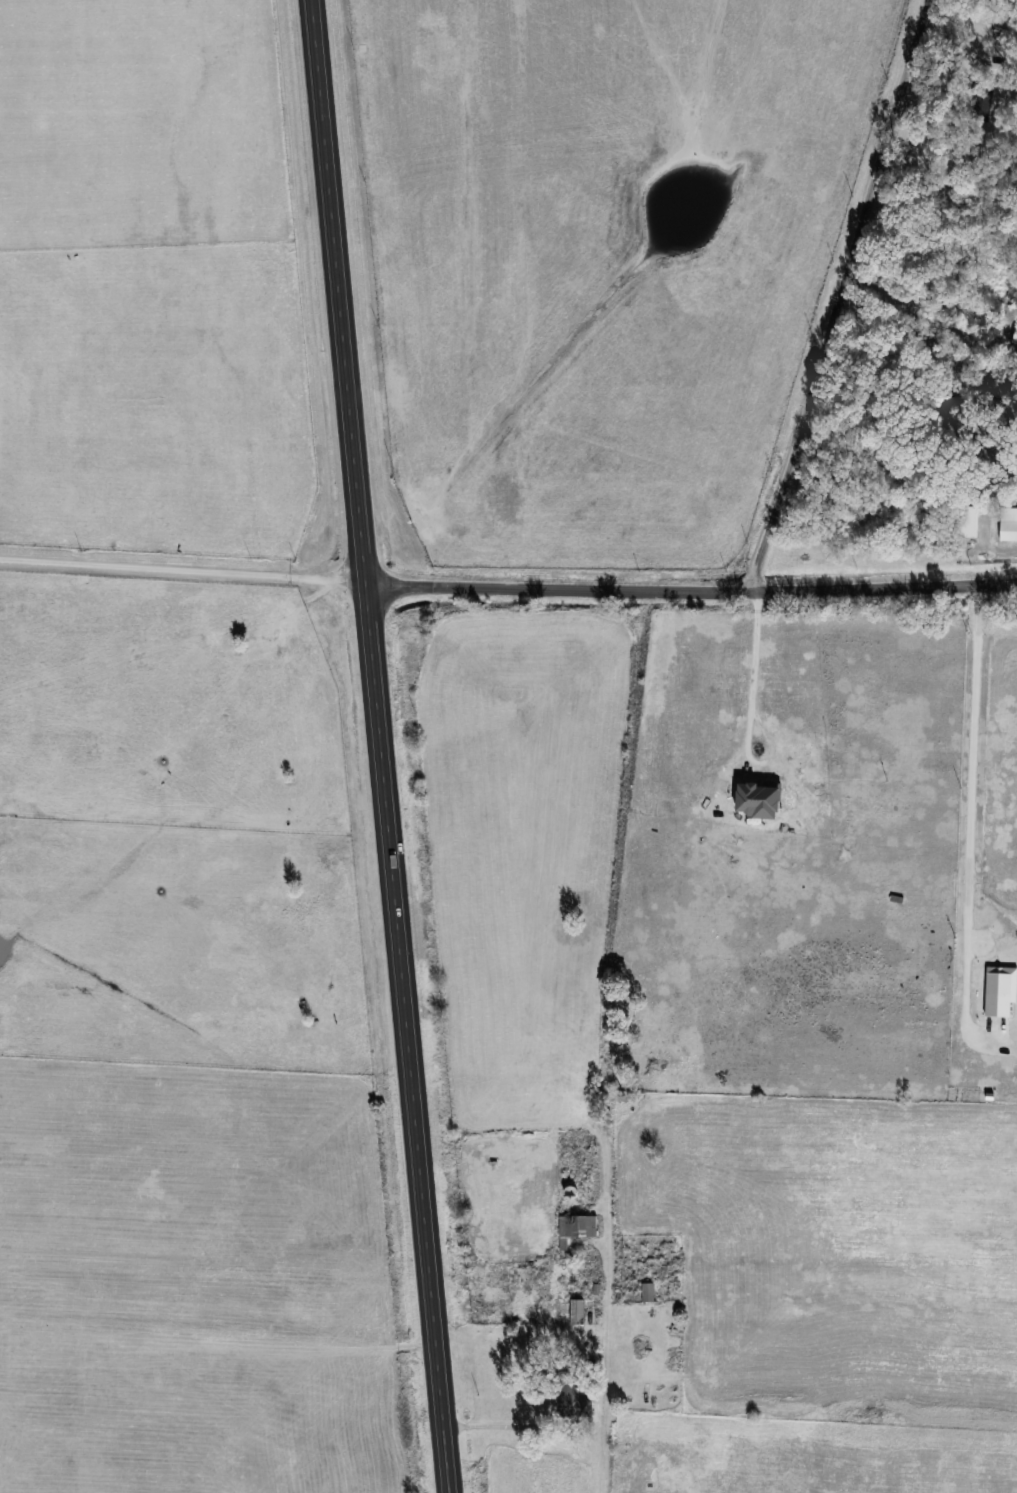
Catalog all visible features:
road: (838, 295)
road: (907, 330)
building: (1008, 531)
road: (182, 574)
road: (691, 592)
road: (751, 712)
road: (380, 746)
road: (973, 821)
building: (650, 1064)
building: (578, 1105)
building: (577, 1228)
building: (648, 1292)
building: (578, 1311)
road: (606, 1352)
building: (572, 1397)
road: (517, 1424)

